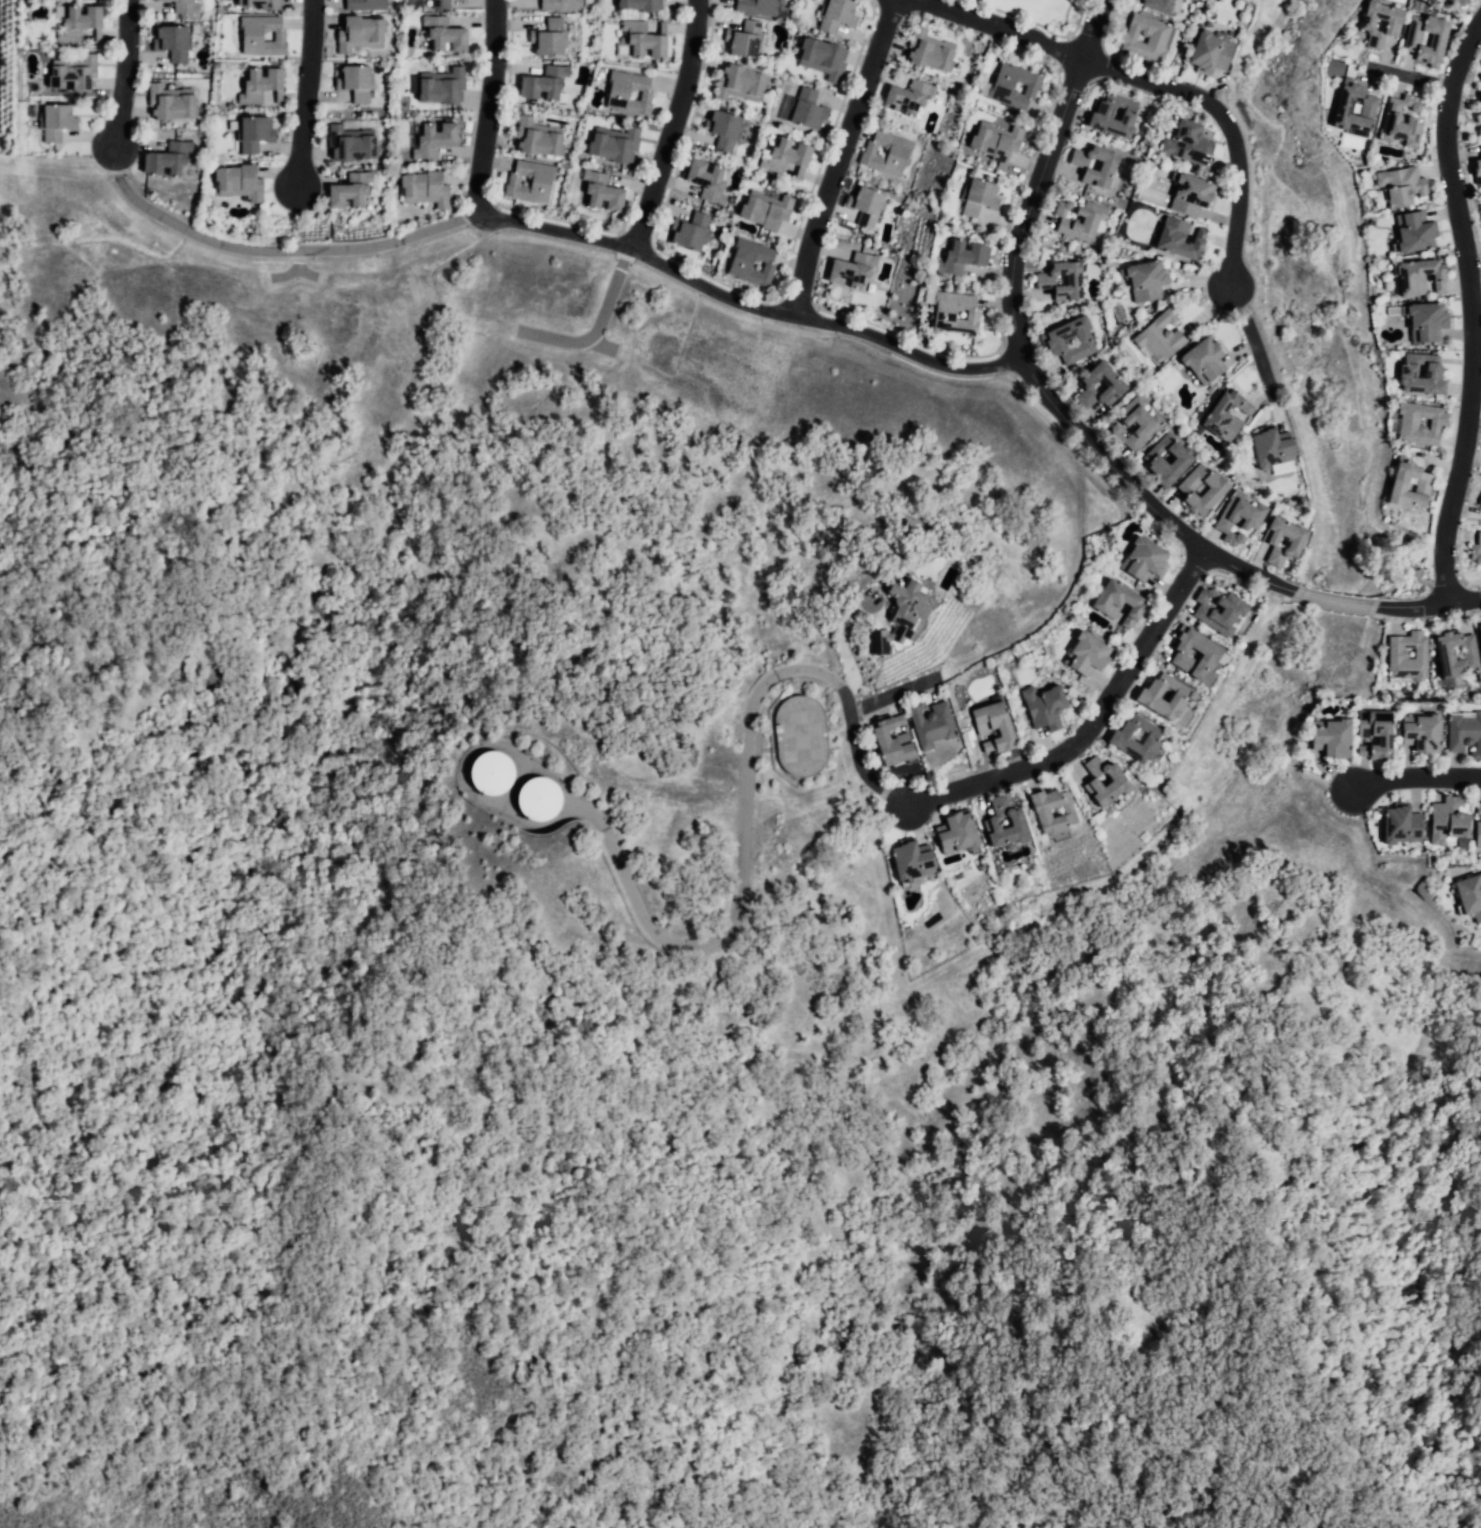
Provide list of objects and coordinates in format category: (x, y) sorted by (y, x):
building: (1459, 3)
building: (366, 4)
building: (437, 4)
building: (560, 4)
building: (261, 5)
building: (758, 5)
building: (1159, 5)
building: (184, 6)
building: (640, 6)
building: (840, 13)
park: (1289, 15)
building: (1395, 24)
building: (80, 25)
building: (360, 34)
building: (445, 34)
building: (551, 35)
building: (264, 36)
building: (745, 38)
building: (643, 40)
building: (1127, 42)
building: (1411, 42)
building: (174, 43)
building: (931, 52)
building: (1211, 53)
building: (822, 59)
building: (77, 73)
road: (120, 76)
road: (1410, 76)
building: (545, 82)
building: (356, 83)
building: (737, 84)
road: (1157, 84)
building: (445, 87)
building: (263, 88)
building: (1003, 88)
building: (631, 89)
road: (307, 92)
building: (912, 98)
building: (1480, 100)
building: (169, 104)
road: (485, 108)
building: (1345, 109)
building: (804, 110)
building: (1114, 114)
building: (1401, 121)
building: (56, 122)
building: (1480, 124)
building: (724, 128)
road: (672, 129)
building: (254, 133)
building: (537, 138)
building: (435, 139)
building: (996, 143)
building: (1188, 143)
building: (352, 146)
building: (615, 146)
building: (887, 150)
road: (845, 156)
building: (787, 158)
building: (167, 159)
building: (1108, 166)
building: (1479, 170)
building: (707, 181)
building: (239, 183)
building: (532, 183)
building: (1401, 185)
building: (427, 190)
building: (352, 192)
building: (1192, 195)
building: (600, 196)
building: (980, 199)
building: (867, 205)
building: (766, 211)
building: (1082, 221)
building: (690, 231)
building: (1416, 234)
building: (1183, 240)
road: (276, 250)
building: (962, 259)
building: (751, 263)
road: (293, 270)
road: (304, 273)
building: (855, 273)
building: (1423, 275)
building: (1145, 282)
building: (1044, 284)
road: (745, 306)
road: (1470, 309)
building: (944, 315)
building: (1427, 322)
road: (595, 329)
road: (1247, 334)
building: (1159, 337)
building: (1060, 339)
road: (1019, 357)
building: (1204, 359)
building: (1423, 378)
building: (1106, 380)
building: (1227, 415)
building: (1139, 422)
building: (1411, 422)
building: (1275, 453)
building: (1167, 458)
building: (1423, 482)
building: (1216, 488)
building: (1479, 499)
building: (1240, 516)
building: (1480, 538)
building: (1298, 539)
building: (1145, 559)
road: (1334, 598)
building: (912, 599)
building: (1120, 602)
road: (1426, 607)
building: (1222, 611)
building: (1479, 631)
building: (880, 641)
road: (841, 647)
building: (1446, 651)
building: (1397, 652)
building: (1088, 653)
building: (1185, 656)
road: (841, 690)
building: (1151, 699)
building: (1045, 707)
building: (932, 723)
building: (993, 728)
building: (1425, 733)
building: (1377, 734)
building: (1466, 734)
building: (801, 737)
building: (1334, 738)
building: (892, 740)
building: (1136, 743)
building: (491, 764)
building: (1121, 783)
road: (1417, 784)
building: (537, 796)
building: (1479, 807)
building: (1046, 813)
building: (1449, 819)
building: (1019, 820)
building: (1402, 824)
building: (961, 834)
building: (1478, 836)
building: (915, 866)
building: (1470, 895)

